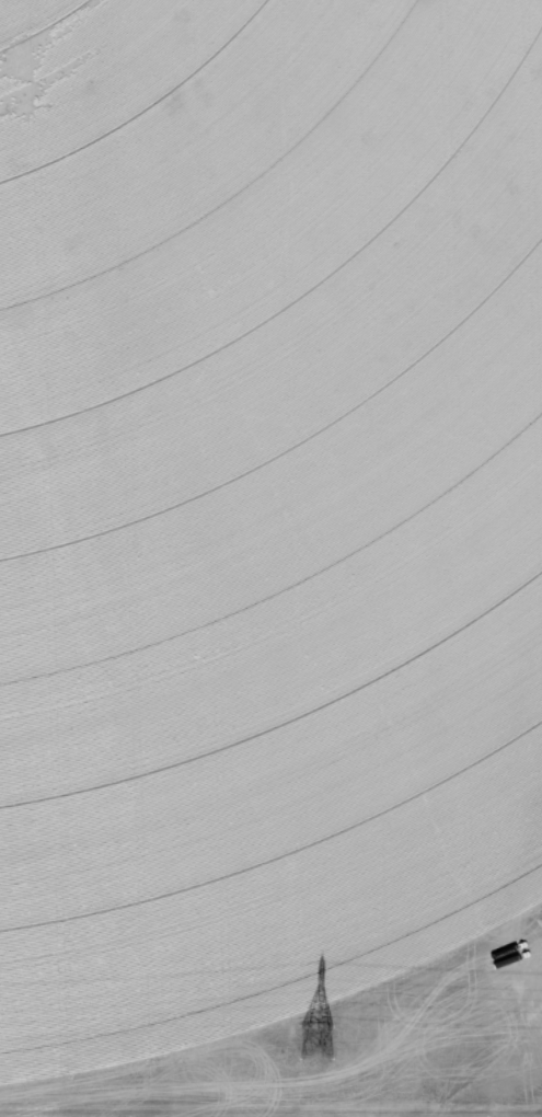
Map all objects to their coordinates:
power tower: (319, 1043)

